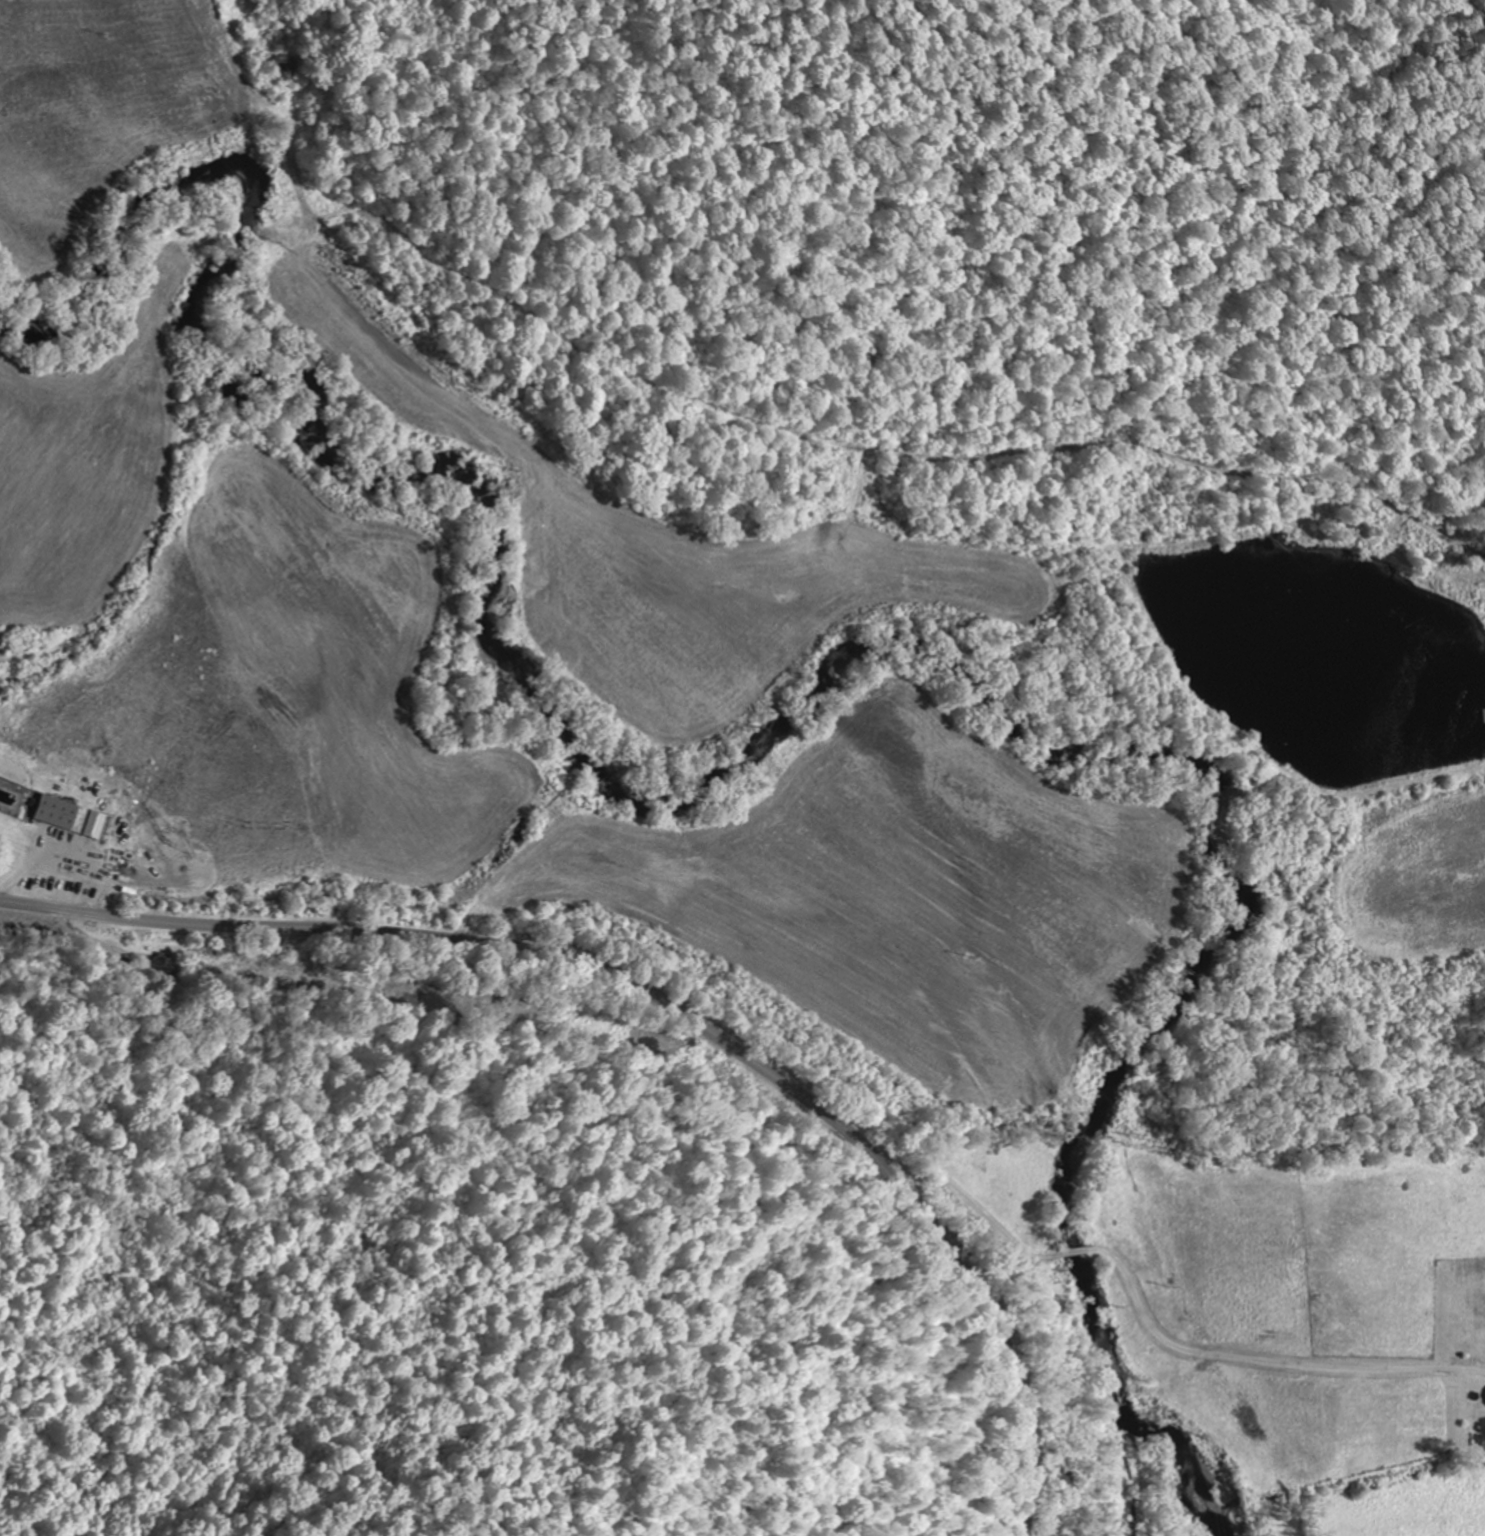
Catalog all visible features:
river: (750, 761)
building: (68, 816)
road: (668, 1002)
road: (951, 1174)
road: (1074, 1252)
road: (1263, 1356)

